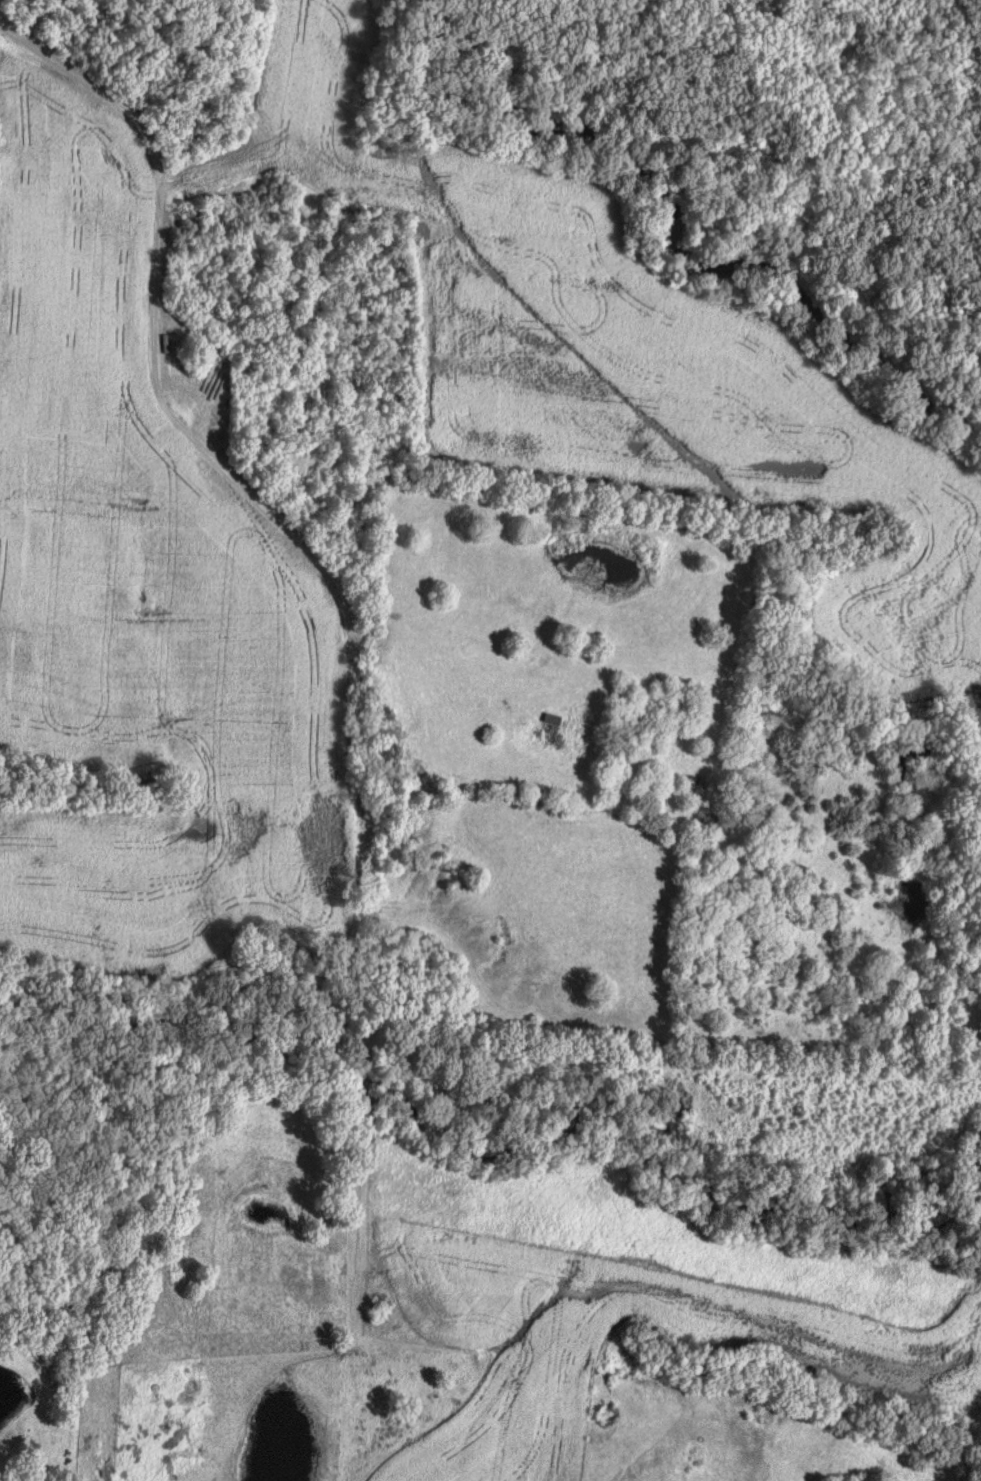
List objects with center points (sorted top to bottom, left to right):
road: (233, 470)
building: (708, 824)

